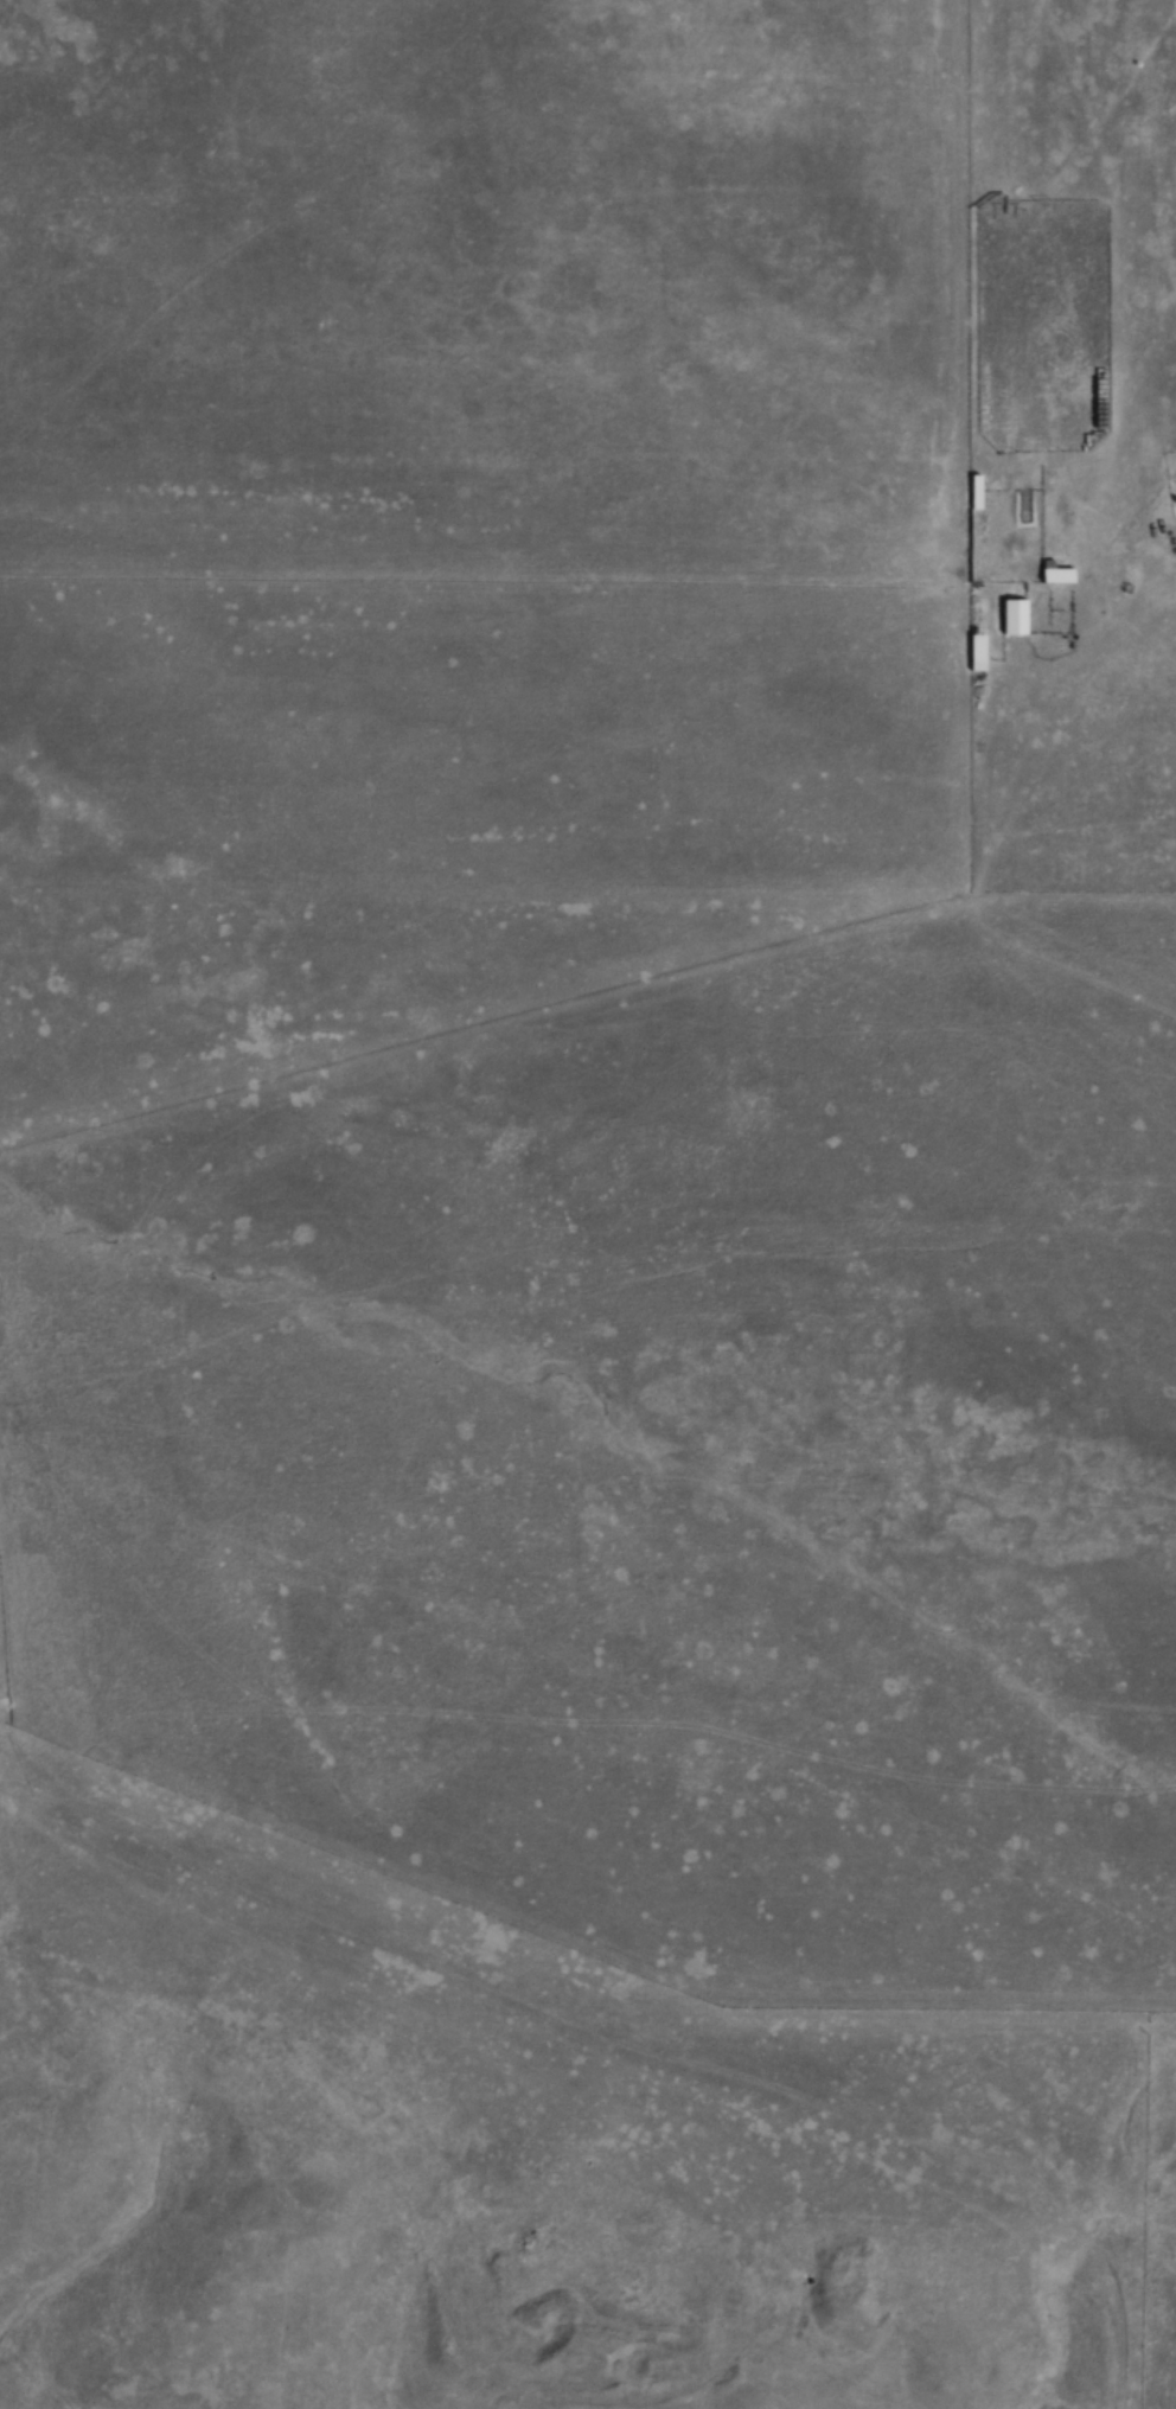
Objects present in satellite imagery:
building: (978, 492)
building: (1061, 576)
building: (1017, 618)
building: (980, 653)

